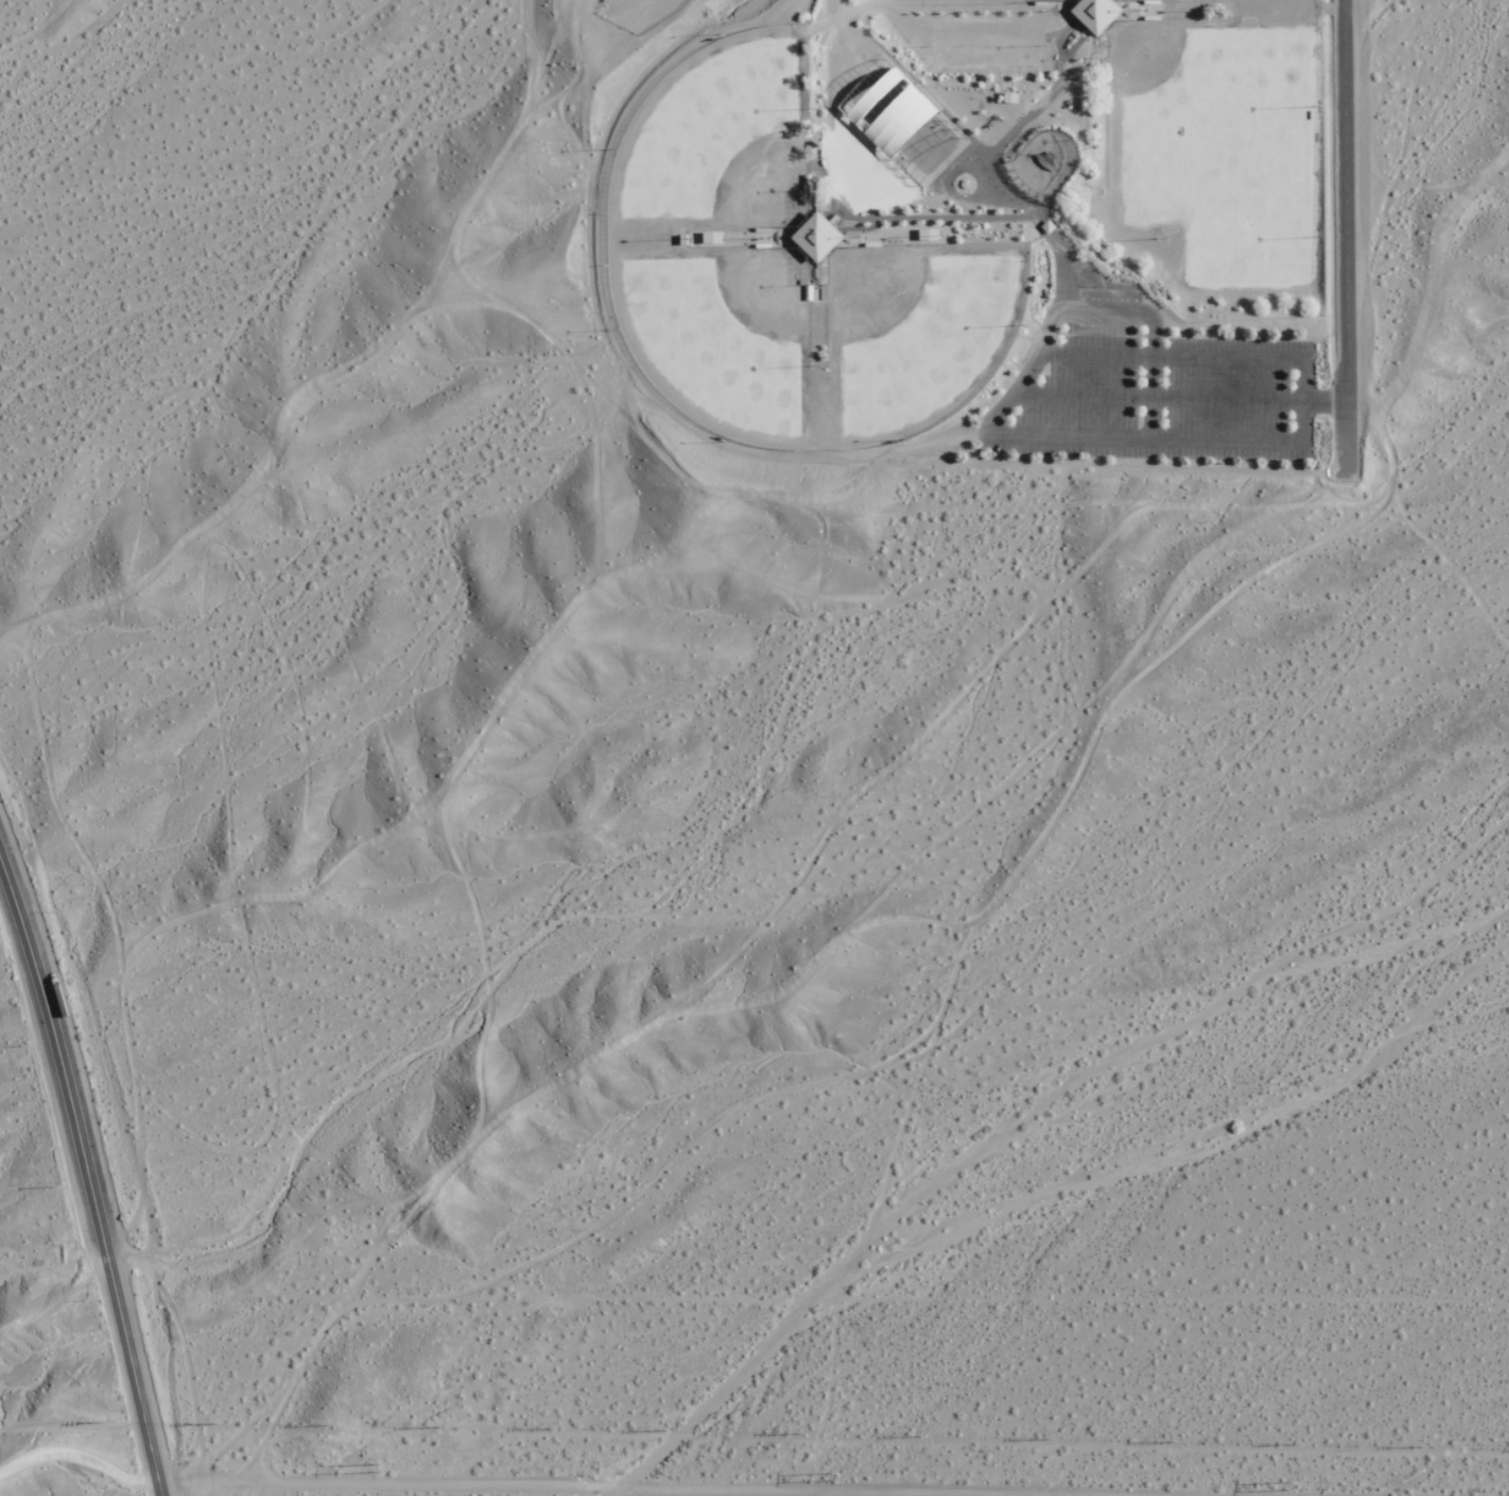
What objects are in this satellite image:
building: (1096, 13)
road: (1336, 231)
building: (817, 236)
road: (1027, 371)
road: (92, 1179)
power tower: (383, 1468)
power tower: (928, 1470)
road: (181, 1485)
power tower: (1300, 1485)

